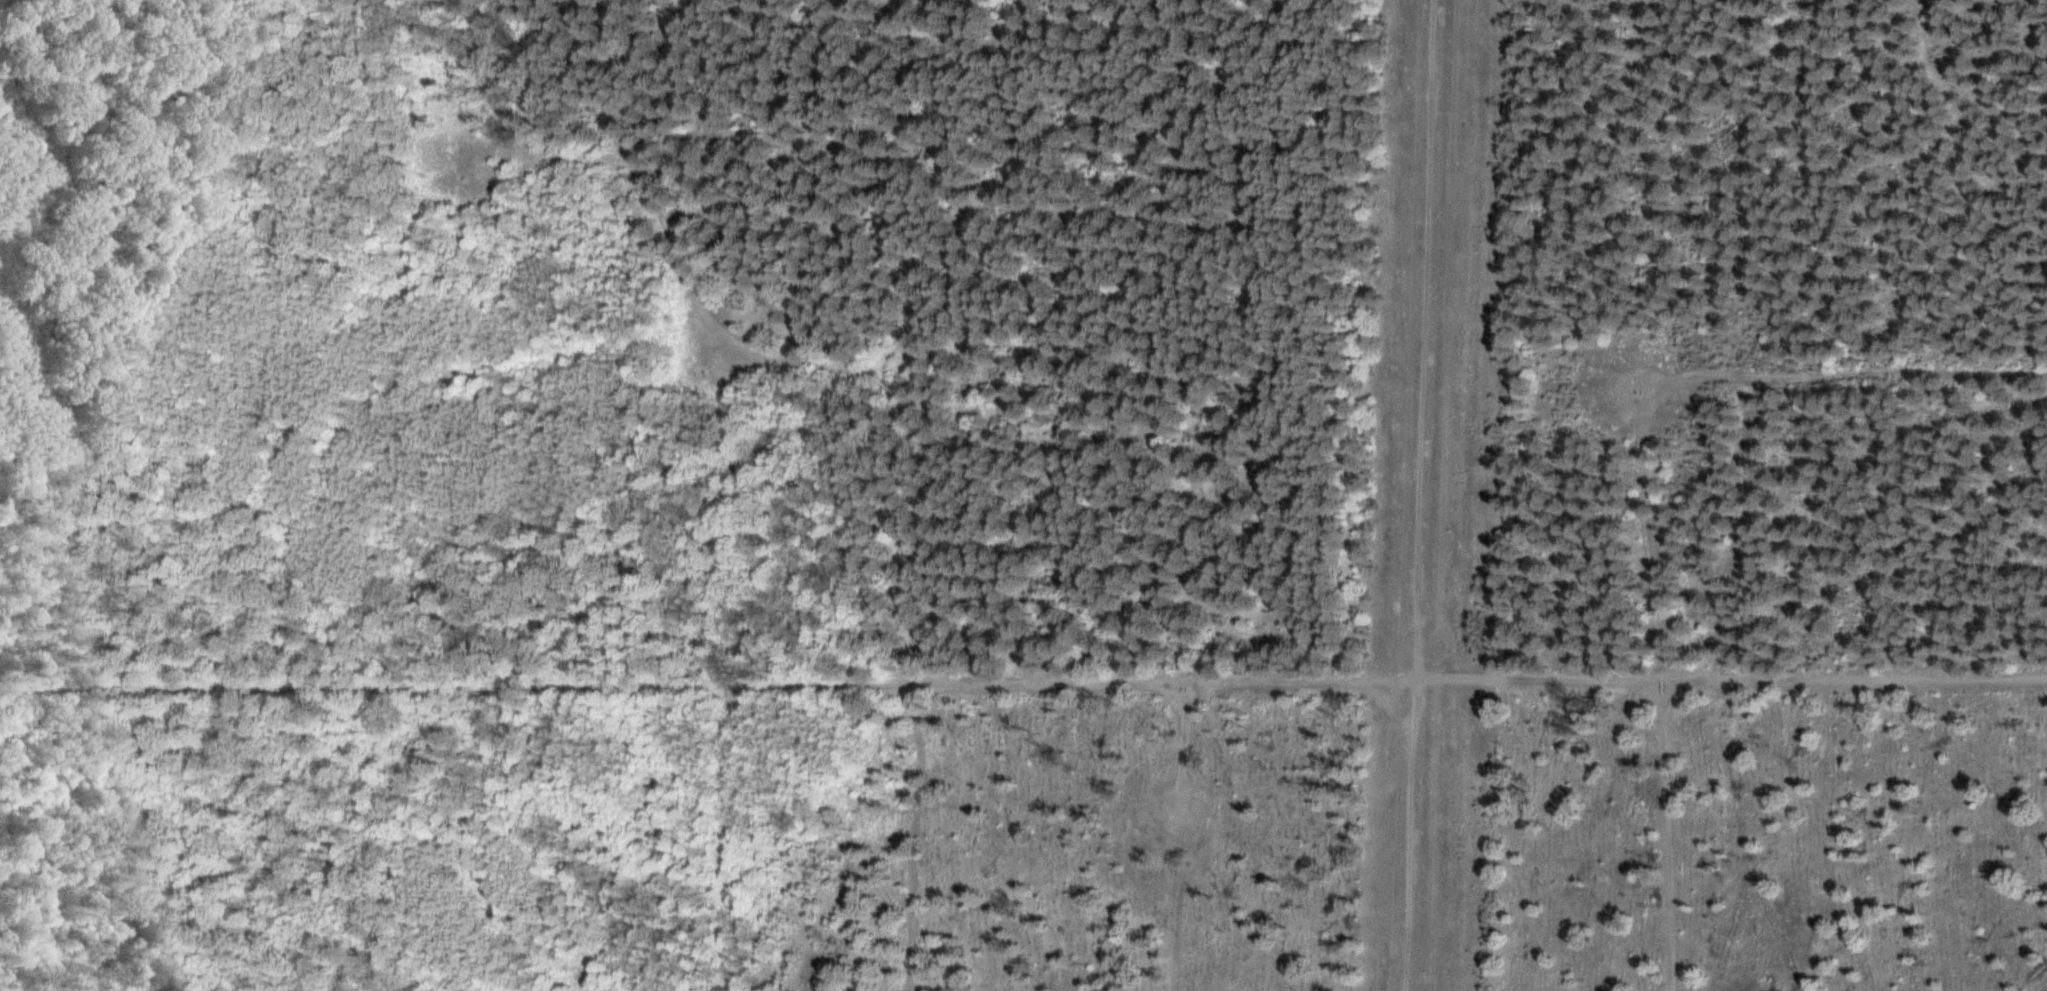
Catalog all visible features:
road: (916, 418)
road: (1642, 492)
road: (1480, 682)
road: (1408, 837)
road: (1177, 912)

